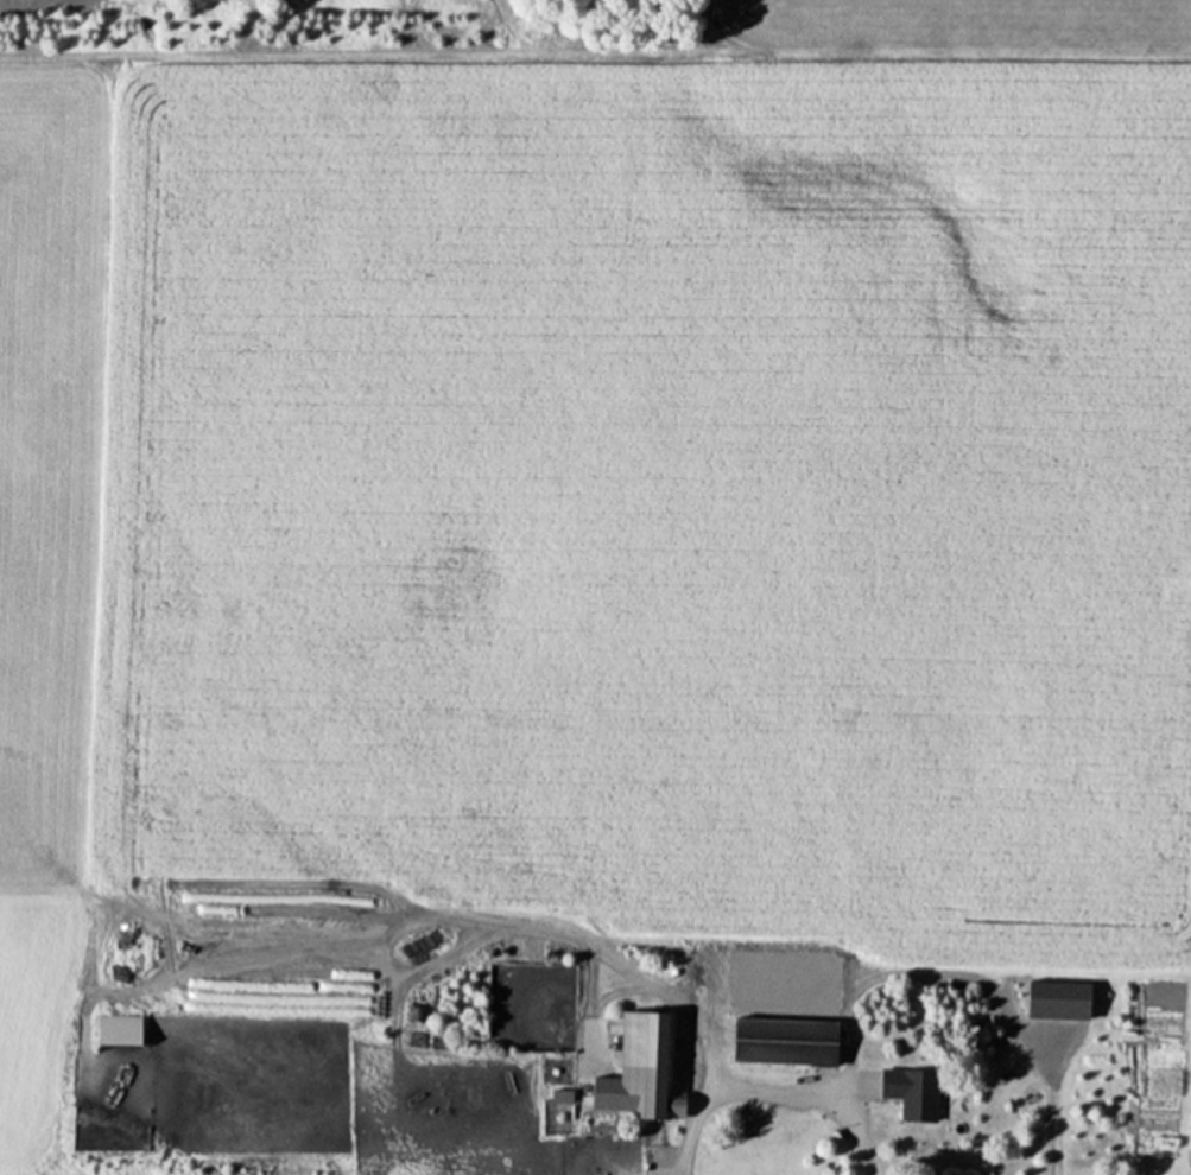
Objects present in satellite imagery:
building: (1054, 999)
building: (115, 1030)
building: (781, 1041)
building: (645, 1063)
building: (910, 1092)
road: (767, 1097)

